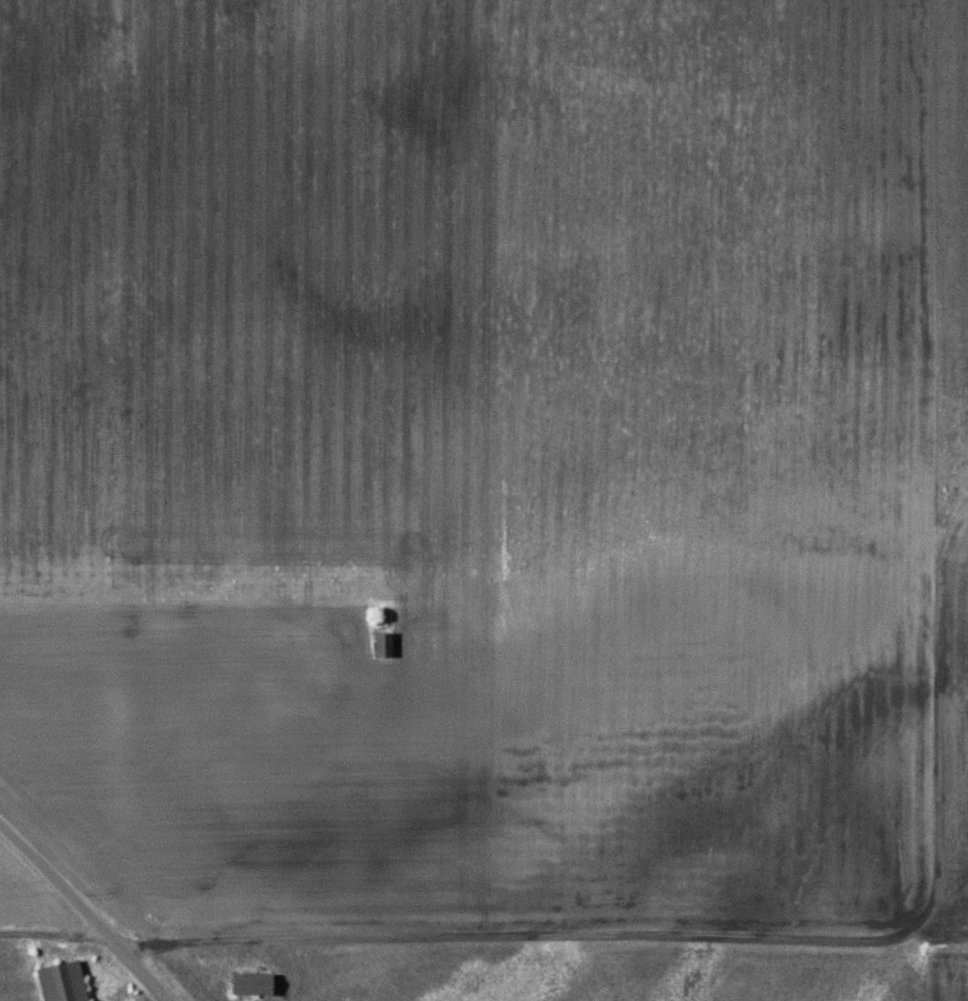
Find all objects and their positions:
building: (384, 646)
road: (59, 943)
building: (63, 983)
building: (253, 985)

